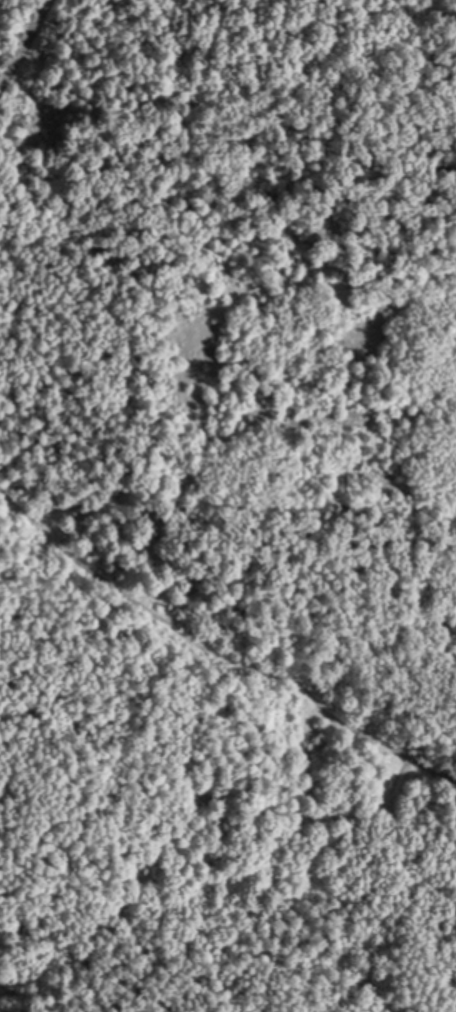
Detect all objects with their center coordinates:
road: (28, 49)

